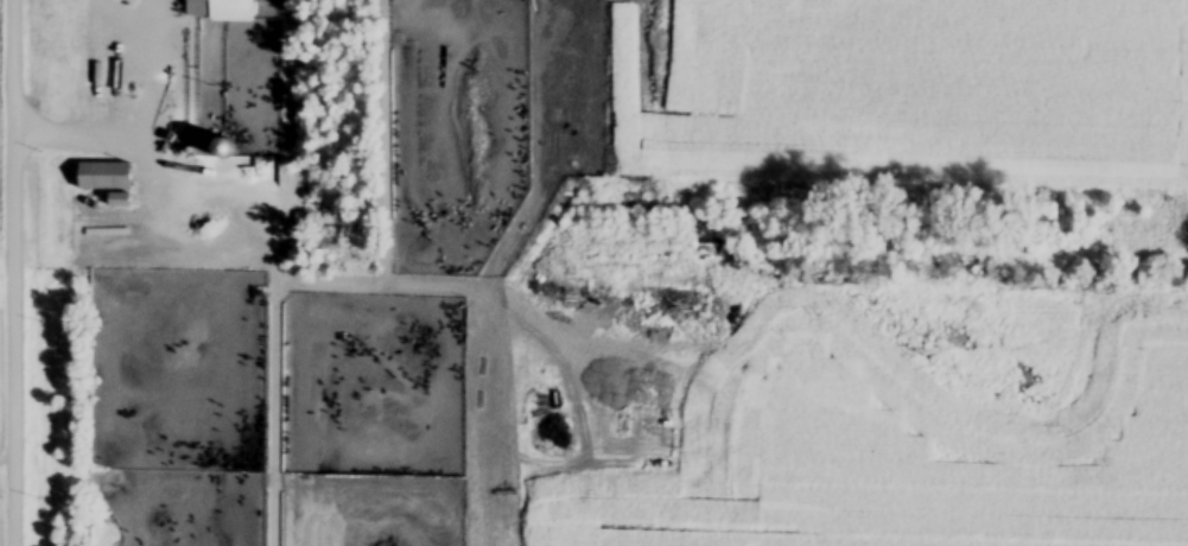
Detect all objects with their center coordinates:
building: (220, 11)
road: (127, 116)
building: (103, 177)
road: (8, 273)
road: (287, 278)

